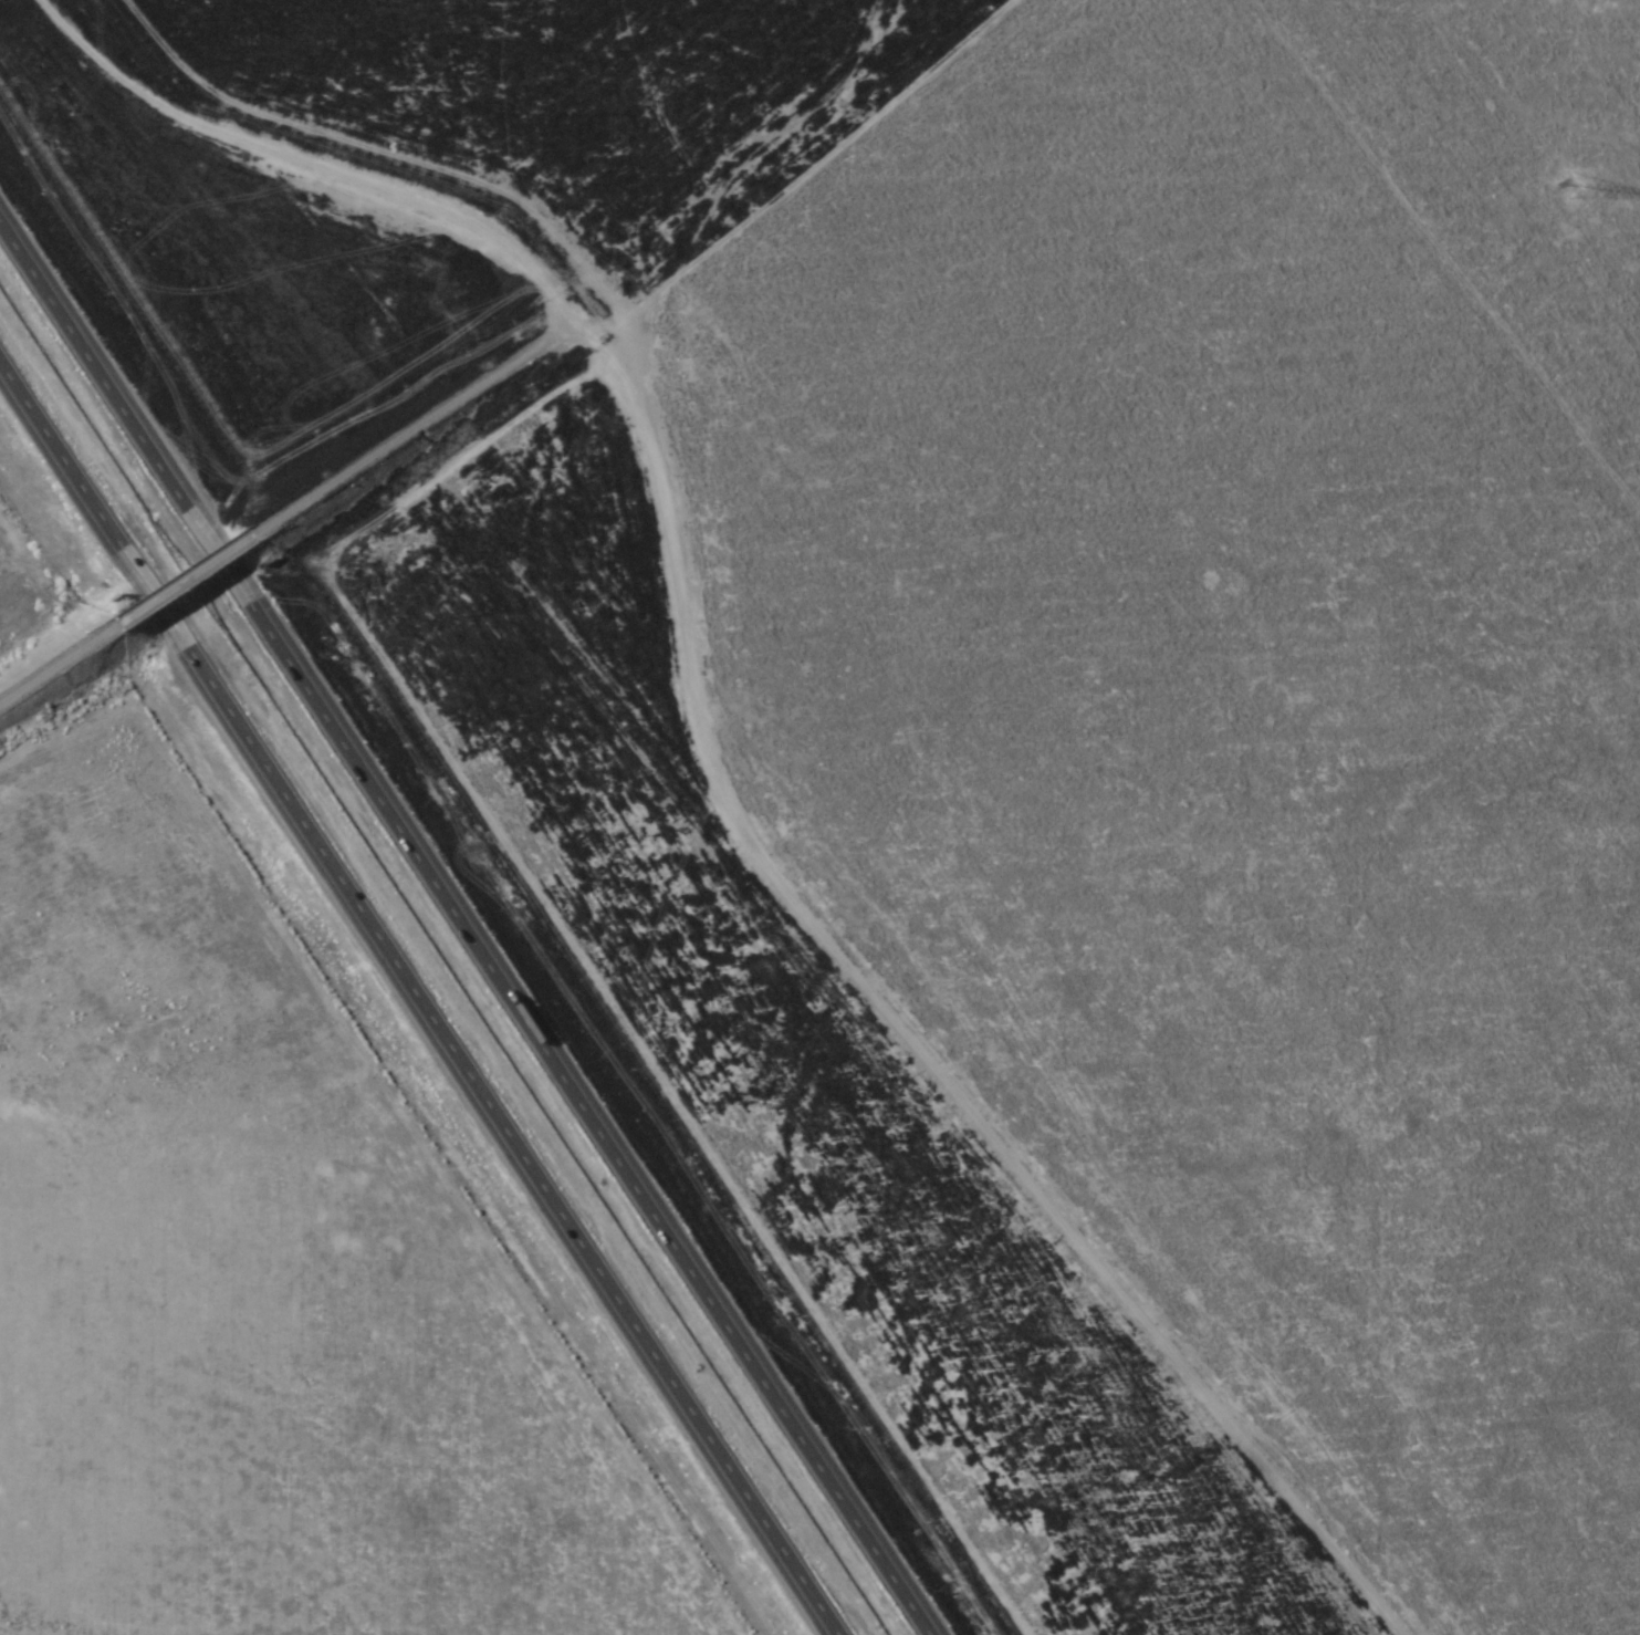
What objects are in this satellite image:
power tower: (1573, 190)
road: (411, 430)
road: (194, 583)
road: (59, 670)
road: (681, 767)
road: (469, 920)
road: (424, 997)
building: (547, 1050)

